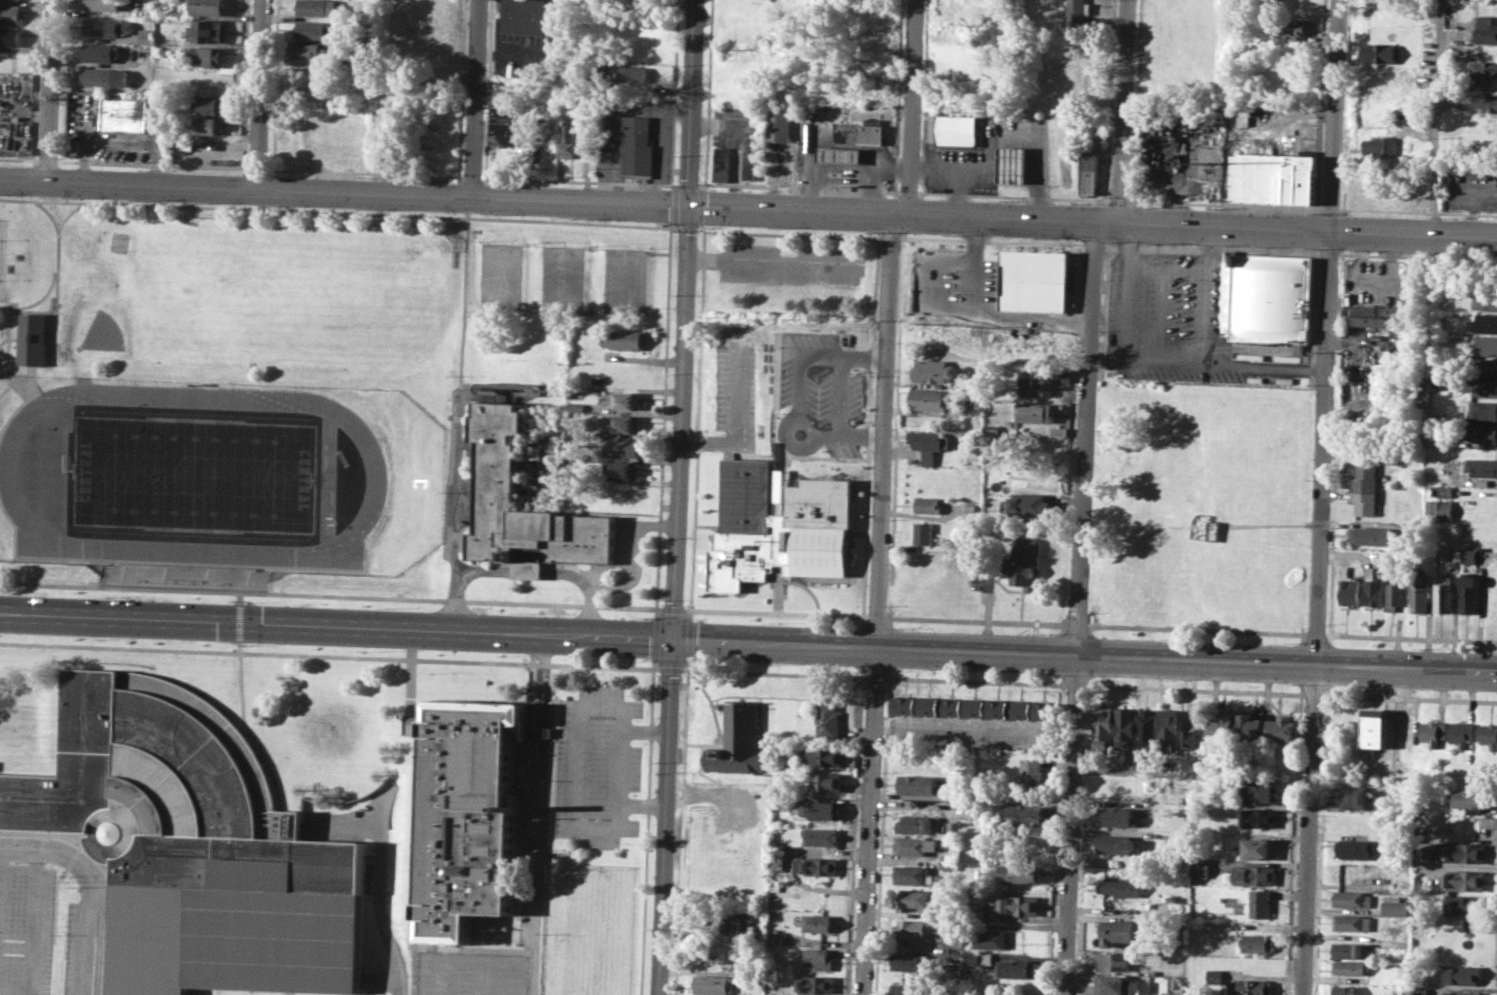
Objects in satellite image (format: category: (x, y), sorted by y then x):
building: (105, 4)
building: (211, 7)
building: (319, 7)
building: (1077, 10)
building: (10, 13)
building: (524, 16)
building: (108, 26)
building: (317, 28)
building: (1295, 28)
building: (1487, 28)
building: (207, 30)
building: (10, 35)
building: (148, 36)
building: (310, 50)
building: (101, 51)
building: (1382, 52)
building: (207, 55)
building: (875, 65)
building: (1485, 70)
building: (630, 74)
building: (106, 76)
road: (53, 92)
road: (262, 96)
road: (477, 101)
building: (1491, 102)
building: (209, 103)
road: (910, 109)
building: (124, 113)
road: (1121, 113)
road: (1437, 119)
building: (504, 120)
building: (209, 125)
building: (780, 125)
building: (957, 129)
building: (860, 131)
road: (1023, 133)
building: (570, 139)
building: (637, 146)
building: (1384, 147)
building: (840, 155)
gas station: (840, 155)
building: (722, 164)
building: (1012, 164)
gas station: (1012, 164)
road: (888, 168)
building: (1089, 172)
road: (951, 173)
building: (1480, 174)
building: (1272, 177)
road: (842, 180)
road: (445, 200)
traffic signals: (690, 210)
road: (344, 212)
road: (1193, 229)
road: (771, 262)
parking lot: (791, 264)
road: (59, 268)
road: (1164, 270)
park: (499, 275)
park: (561, 278)
building: (997, 279)
park: (622, 280)
building: (1031, 280)
road: (462, 294)
road: (1124, 294)
building: (1270, 297)
building: (1486, 300)
road: (5, 309)
road: (33, 311)
building: (1378, 315)
road: (988, 316)
road: (1161, 316)
road: (1203, 319)
road: (9, 322)
parking lot: (1175, 322)
building: (1483, 323)
building: (32, 338)
building: (622, 338)
road: (8, 339)
building: (1037, 345)
building: (1484, 345)
road: (1212, 365)
building: (1485, 367)
building: (934, 371)
road: (16, 380)
park: (264, 386)
building: (1036, 386)
building: (1485, 388)
building: (1436, 390)
road: (839, 395)
building: (928, 399)
building: (624, 400)
parking lot: (737, 400)
road: (798, 406)
building: (976, 407)
building: (1483, 410)
building: (1034, 412)
road: (662, 413)
building: (624, 422)
road: (738, 422)
road: (805, 425)
building: (1057, 431)
building: (1479, 431)
road: (883, 433)
building: (930, 440)
building: (620, 445)
building: (533, 450)
building: (968, 459)
building: (1481, 466)
building: (839, 469)
building: (620, 470)
park: (184, 472)
building: (497, 474)
track: (373, 477)
park: (328, 478)
road: (456, 484)
building: (1365, 487)
building: (1442, 490)
building: (617, 493)
road: (678, 497)
road: (1321, 497)
building: (930, 504)
building: (1031, 504)
building: (1441, 509)
building: (750, 519)
building: (1213, 530)
building: (924, 533)
building: (1368, 535)
parking lot: (629, 544)
road: (634, 552)
building: (1469, 556)
building: (1025, 563)
building: (1379, 565)
road: (525, 570)
building: (182, 574)
building: (1347, 588)
building: (1372, 589)
building: (1395, 593)
building: (1418, 593)
building: (1470, 593)
road: (331, 594)
street lamp: (107, 595)
building: (1444, 595)
road: (240, 597)
street lamp: (253, 601)
street lamp: (886, 605)
street lamp: (387, 607)
road: (672, 608)
road: (1079, 610)
street lamp: (520, 612)
road: (775, 612)
road: (876, 616)
street lamp: (644, 617)
road: (976, 620)
road: (240, 621)
street lamp: (772, 621)
street lamp: (1325, 623)
road: (1076, 624)
street lamp: (900, 627)
road: (437, 629)
road: (1196, 629)
street lamp: (1036, 631)
road: (1315, 634)
road: (654, 637)
traffic signals: (673, 637)
street lamp: (1165, 637)
road: (1411, 637)
street lamp: (102, 638)
street lamp: (1291, 642)
street lamp: (250, 644)
street lamp: (1419, 647)
street lamp: (388, 650)
street lamp: (517, 654)
road: (335, 655)
street lamp: (643, 659)
road: (1186, 660)
street lamp: (770, 664)
street lamp: (899, 670)
street lamp: (1036, 676)
street lamp: (1164, 679)
street lamp: (884, 684)
street lamp: (1290, 684)
road: (409, 687)
street lamp: (1419, 689)
road: (602, 703)
building: (974, 708)
street lamp: (1322, 715)
building: (828, 720)
building: (1124, 726)
building: (1146, 726)
building: (1222, 726)
building: (1249, 726)
building: (1102, 727)
building: (1168, 727)
building: (1281, 727)
road: (247, 728)
building: (1372, 728)
road: (646, 730)
building: (1431, 732)
building: (1461, 733)
building: (1489, 735)
building: (738, 741)
building: (1193, 742)
building: (822, 756)
road: (579, 766)
parking lot: (600, 766)
road: (622, 767)
building: (1031, 770)
building: (827, 782)
building: (917, 784)
building: (1260, 791)
building: (1350, 798)
building: (1472, 799)
road: (643, 805)
building: (823, 809)
road: (539, 813)
building: (469, 815)
building: (1022, 815)
building: (1119, 817)
building: (1259, 818)
road: (869, 822)
building: (916, 824)
road: (648, 826)
building: (954, 828)
road: (599, 829)
road: (42, 834)
building: (823, 836)
road: (416, 839)
building: (1115, 843)
building: (193, 845)
building: (915, 845)
building: (1260, 848)
building: (1353, 849)
building: (1460, 852)
road: (50, 854)
building: (949, 864)
building: (819, 866)
building: (1200, 867)
building: (1020, 873)
building: (914, 874)
building: (1255, 875)
building: (1465, 879)
building: (1121, 887)
building: (917, 898)
building: (1352, 898)
building: (1260, 903)
road: (377, 904)
building: (1463, 904)
building: (1017, 905)
building: (1394, 906)
building: (977, 908)
building: (1352, 921)
building: (819, 922)
building: (742, 923)
road: (34, 924)
building: (912, 927)
parking lot: (26, 929)
building: (1119, 931)
road: (93, 937)
building: (775, 938)
building: (991, 939)
building: (1257, 942)
parking lot: (80, 948)
road: (453, 949)
building: (1351, 949)
building: (713, 954)
building: (821, 957)
building: (955, 957)
building: (980, 958)
building: (910, 961)
building: (1114, 961)
building: (1350, 967)
building: (1018, 968)
parking lot: (471, 972)
building: (1463, 975)
building: (1215, 976)
building: (716, 983)
building: (818, 984)
building: (1123, 985)
building: (1250, 987)
building: (910, 988)
building: (1345, 990)
building: (1419, 990)
building: (1461, 992)
building: (1171, 993)

